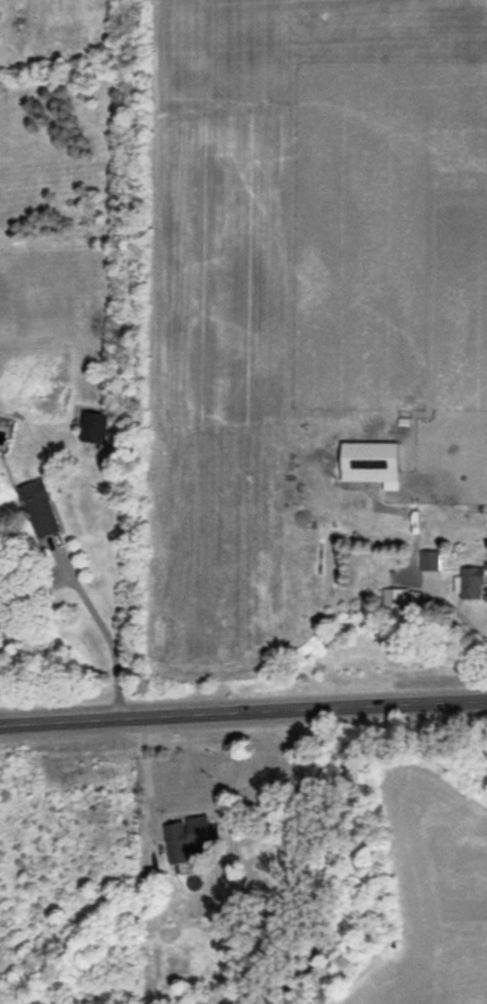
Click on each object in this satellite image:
building: (94, 426)
building: (372, 462)
building: (40, 508)
building: (430, 560)
building: (473, 582)
building: (403, 597)
road: (465, 619)
road: (102, 631)
road: (243, 709)
road: (147, 772)
building: (193, 837)

